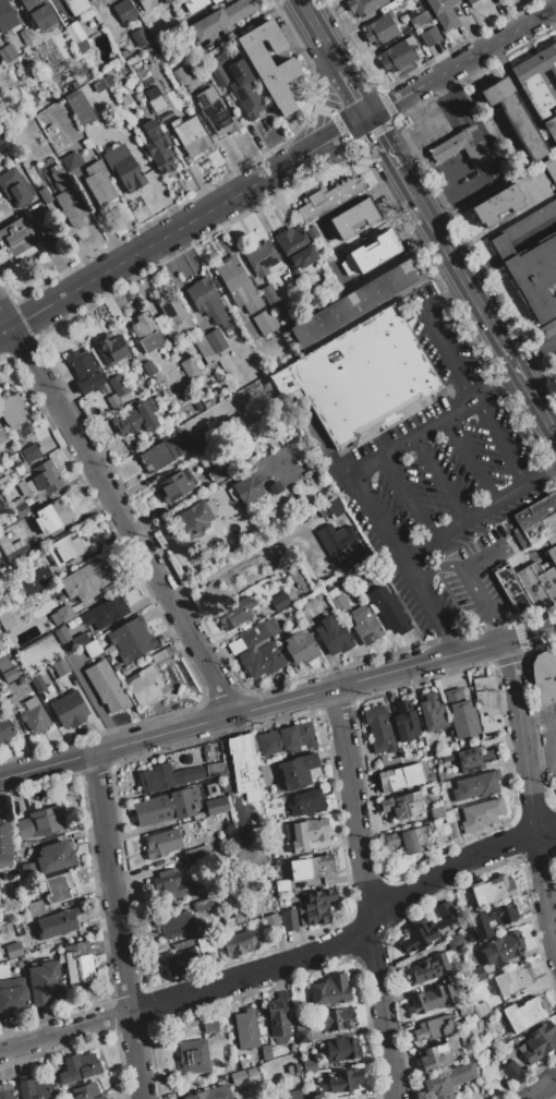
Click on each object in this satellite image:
building: (403, 0)
building: (215, 1)
building: (472, 3)
building: (148, 4)
building: (194, 4)
building: (76, 5)
building: (363, 5)
building: (123, 11)
building: (443, 12)
building: (39, 13)
building: (5, 17)
building: (222, 19)
road: (551, 20)
road: (312, 21)
building: (425, 28)
building: (380, 31)
building: (74, 33)
building: (140, 36)
building: (7, 53)
building: (398, 55)
road: (334, 56)
building: (217, 62)
building: (269, 63)
building: (182, 74)
building: (102, 84)
building: (540, 86)
building: (153, 93)
road: (355, 93)
building: (246, 97)
road: (523, 97)
road: (319, 101)
building: (157, 102)
building: (81, 108)
building: (146, 110)
building: (216, 113)
road: (430, 116)
building: (515, 118)
building: (49, 129)
building: (190, 135)
building: (2, 140)
building: (93, 140)
road: (383, 142)
road: (448, 147)
building: (464, 147)
building: (160, 154)
building: (71, 160)
building: (123, 167)
road: (282, 168)
building: (551, 169)
building: (99, 184)
road: (457, 184)
building: (15, 188)
road: (362, 194)
building: (45, 195)
building: (67, 197)
building: (328, 197)
building: (497, 205)
building: (352, 218)
building: (311, 231)
building: (15, 238)
building: (295, 247)
building: (371, 253)
building: (261, 258)
road: (203, 259)
building: (530, 262)
building: (295, 276)
building: (237, 283)
road: (178, 286)
building: (269, 295)
building: (207, 301)
road: (478, 301)
building: (353, 303)
road: (233, 310)
building: (174, 316)
building: (265, 322)
building: (548, 328)
road: (434, 330)
road: (4, 331)
building: (146, 333)
building: (216, 340)
road: (290, 340)
building: (202, 346)
building: (111, 349)
road: (536, 355)
building: (148, 369)
building: (190, 369)
building: (84, 371)
building: (363, 378)
road: (542, 382)
building: (118, 385)
building: (113, 402)
building: (13, 410)
building: (134, 420)
building: (2, 436)
building: (205, 442)
road: (498, 442)
building: (31, 452)
building: (161, 454)
road: (468, 459)
building: (19, 469)
building: (219, 470)
parking lot: (436, 474)
road: (438, 476)
road: (349, 479)
building: (3, 482)
building: (40, 482)
building: (174, 485)
building: (275, 487)
building: (252, 488)
road: (406, 497)
building: (334, 507)
building: (20, 508)
road: (478, 510)
road: (117, 514)
building: (232, 516)
building: (51, 517)
building: (196, 517)
building: (537, 522)
building: (336, 538)
building: (9, 545)
building: (67, 547)
road: (485, 556)
building: (356, 559)
parking lot: (476, 576)
building: (297, 578)
building: (37, 580)
building: (85, 581)
road: (471, 582)
building: (528, 587)
building: (291, 595)
building: (280, 601)
building: (339, 604)
building: (389, 609)
building: (105, 612)
building: (64, 613)
building: (234, 613)
building: (5, 620)
building: (365, 625)
building: (271, 626)
building: (62, 635)
building: (334, 635)
building: (247, 638)
building: (131, 639)
building: (80, 640)
building: (300, 645)
building: (92, 648)
building: (110, 651)
building: (262, 661)
building: (3, 663)
building: (61, 667)
building: (116, 667)
building: (122, 671)
building: (9, 675)
building: (544, 677)
building: (106, 686)
building: (146, 687)
road: (278, 703)
building: (486, 703)
building: (10, 704)
building: (69, 710)
building: (431, 713)
building: (461, 714)
building: (34, 715)
building: (406, 722)
building: (4, 729)
building: (378, 729)
building: (286, 739)
building: (205, 751)
building: (446, 758)
building: (185, 759)
building: (473, 759)
building: (388, 760)
building: (244, 765)
building: (215, 770)
building: (205, 771)
building: (297, 771)
building: (264, 775)
building: (167, 777)
building: (399, 777)
building: (475, 786)
building: (211, 789)
road: (530, 793)
building: (306, 802)
building: (402, 805)
building: (445, 805)
building: (216, 806)
building: (167, 807)
building: (436, 812)
building: (481, 814)
building: (43, 823)
building: (450, 825)
building: (307, 833)
building: (275, 838)
building: (440, 838)
building: (409, 840)
building: (162, 843)
building: (4, 845)
building: (195, 852)
building: (55, 857)
building: (312, 867)
building: (28, 872)
building: (281, 885)
building: (168, 886)
building: (55, 887)
building: (493, 890)
road: (364, 893)
building: (206, 903)
building: (35, 907)
building: (315, 907)
building: (239, 917)
building: (493, 919)
building: (289, 920)
building: (274, 922)
building: (57, 923)
building: (176, 925)
road: (117, 926)
building: (19, 929)
building: (427, 929)
building: (238, 943)
building: (455, 943)
building: (186, 944)
building: (501, 949)
building: (13, 950)
building: (0, 956)
building: (182, 963)
road: (289, 963)
building: (80, 968)
building: (427, 968)
building: (476, 974)
building: (513, 979)
building: (44, 982)
building: (330, 990)
building: (13, 998)
building: (432, 999)
building: (464, 1010)
building: (481, 1010)
building: (525, 1014)
building: (278, 1017)
building: (337, 1018)
building: (209, 1026)
building: (302, 1027)
building: (434, 1028)
building: (245, 1029)
building: (539, 1042)
building: (341, 1049)
building: (440, 1051)
building: (266, 1052)
building: (193, 1056)
building: (310, 1064)
building: (78, 1067)
building: (51, 1068)
building: (510, 1068)
building: (345, 1080)
building: (449, 1080)
road: (542, 1087)
building: (32, 1088)
building: (5, 1091)
building: (86, 1091)
building: (211, 1094)
building: (312, 1094)
building: (290, 1095)
building: (354, 1098)

